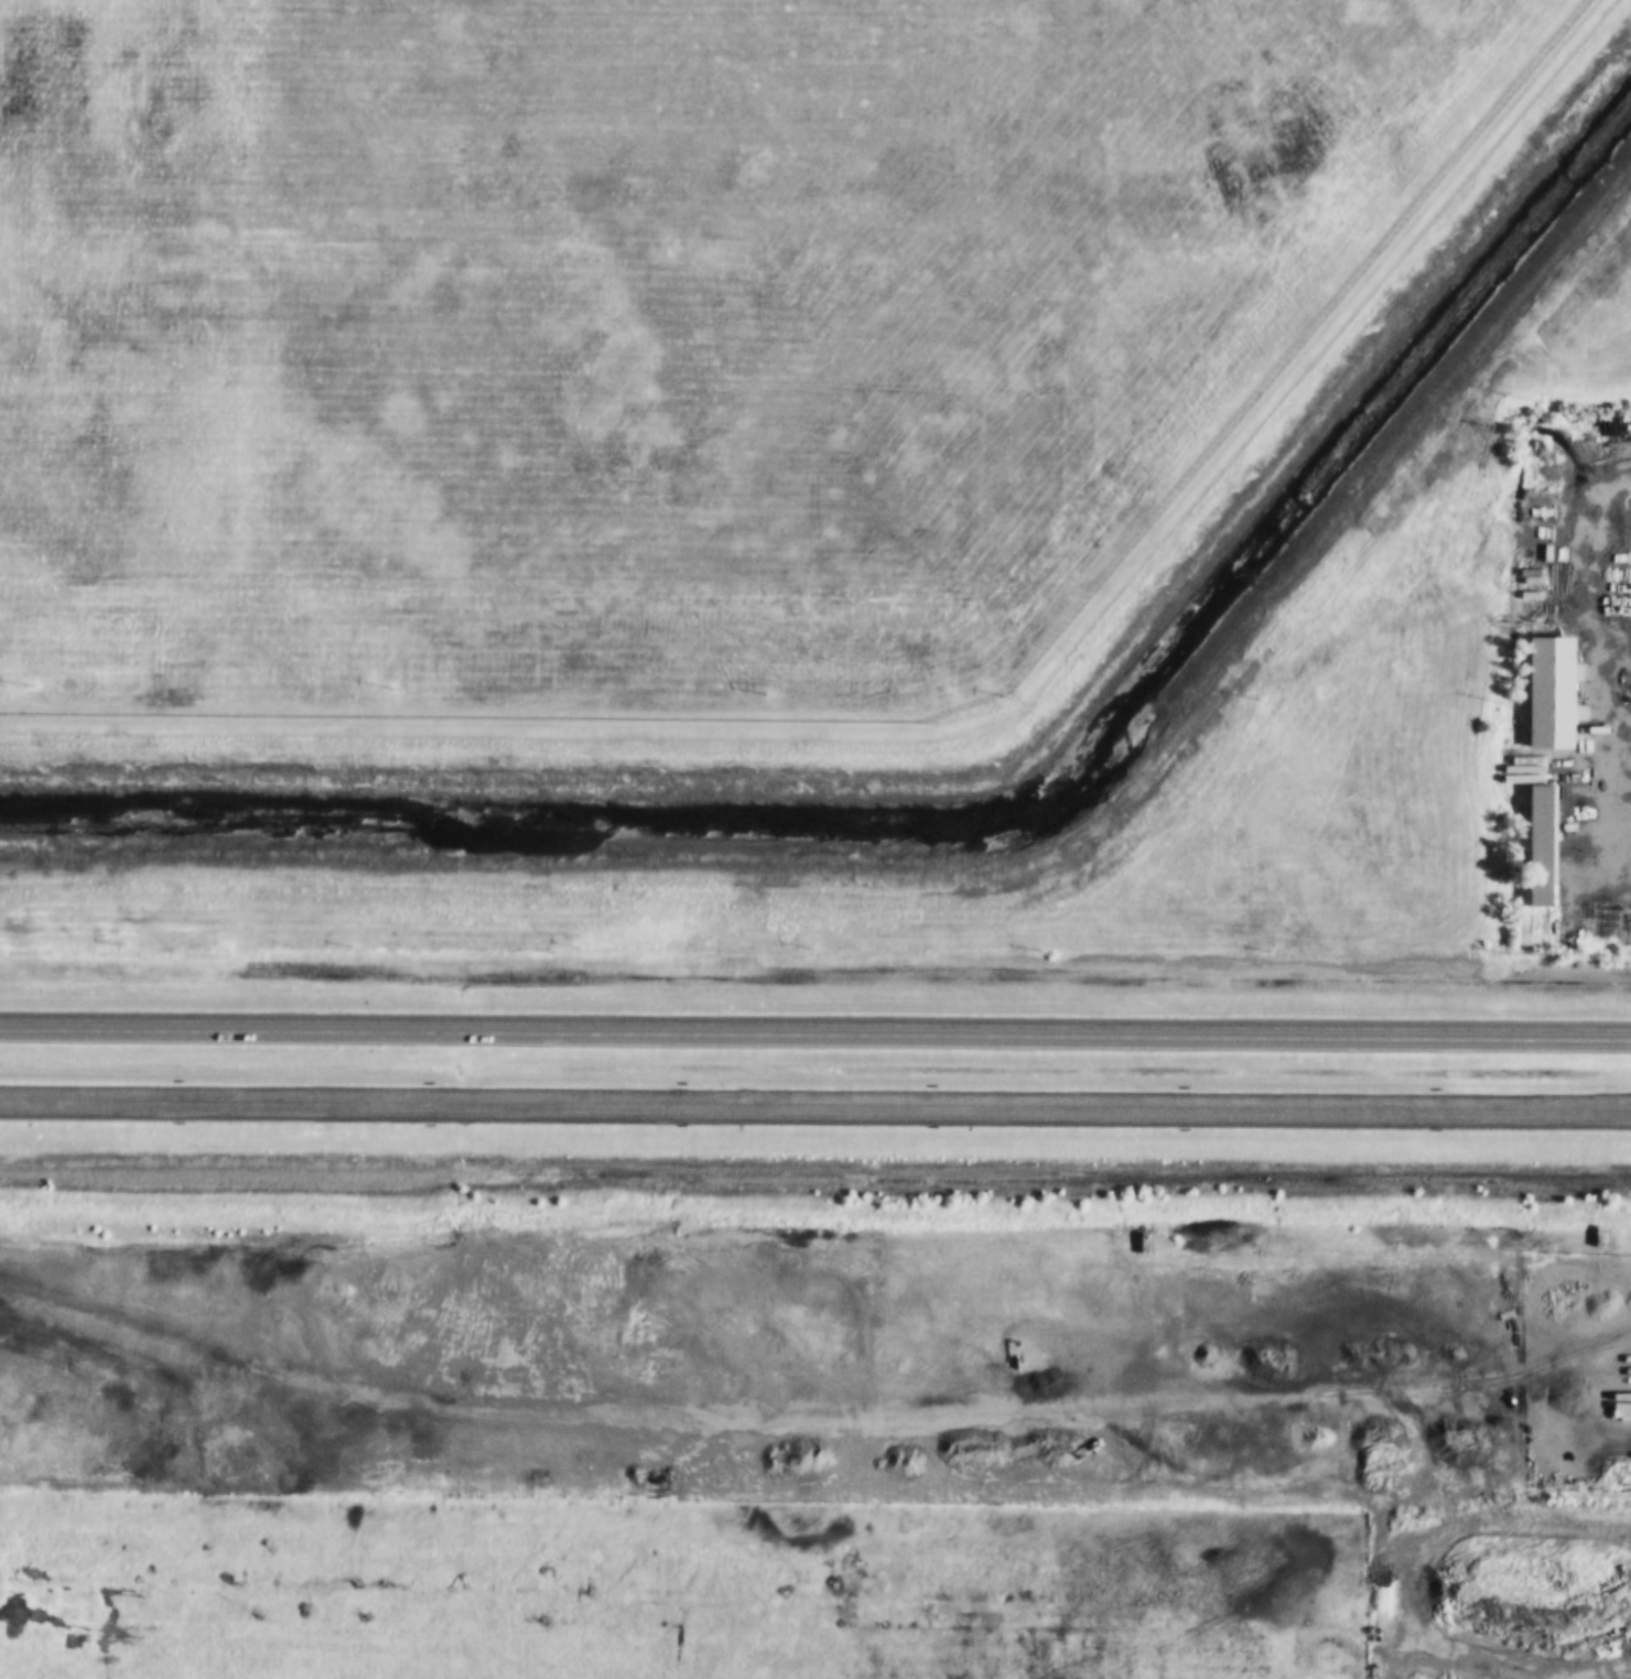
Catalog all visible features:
airport: (657, 331)
crop: (1368, 610)
building: (1554, 694)
building: (1545, 846)
road: (815, 1032)
road: (814, 1104)
crop: (663, 1590)

